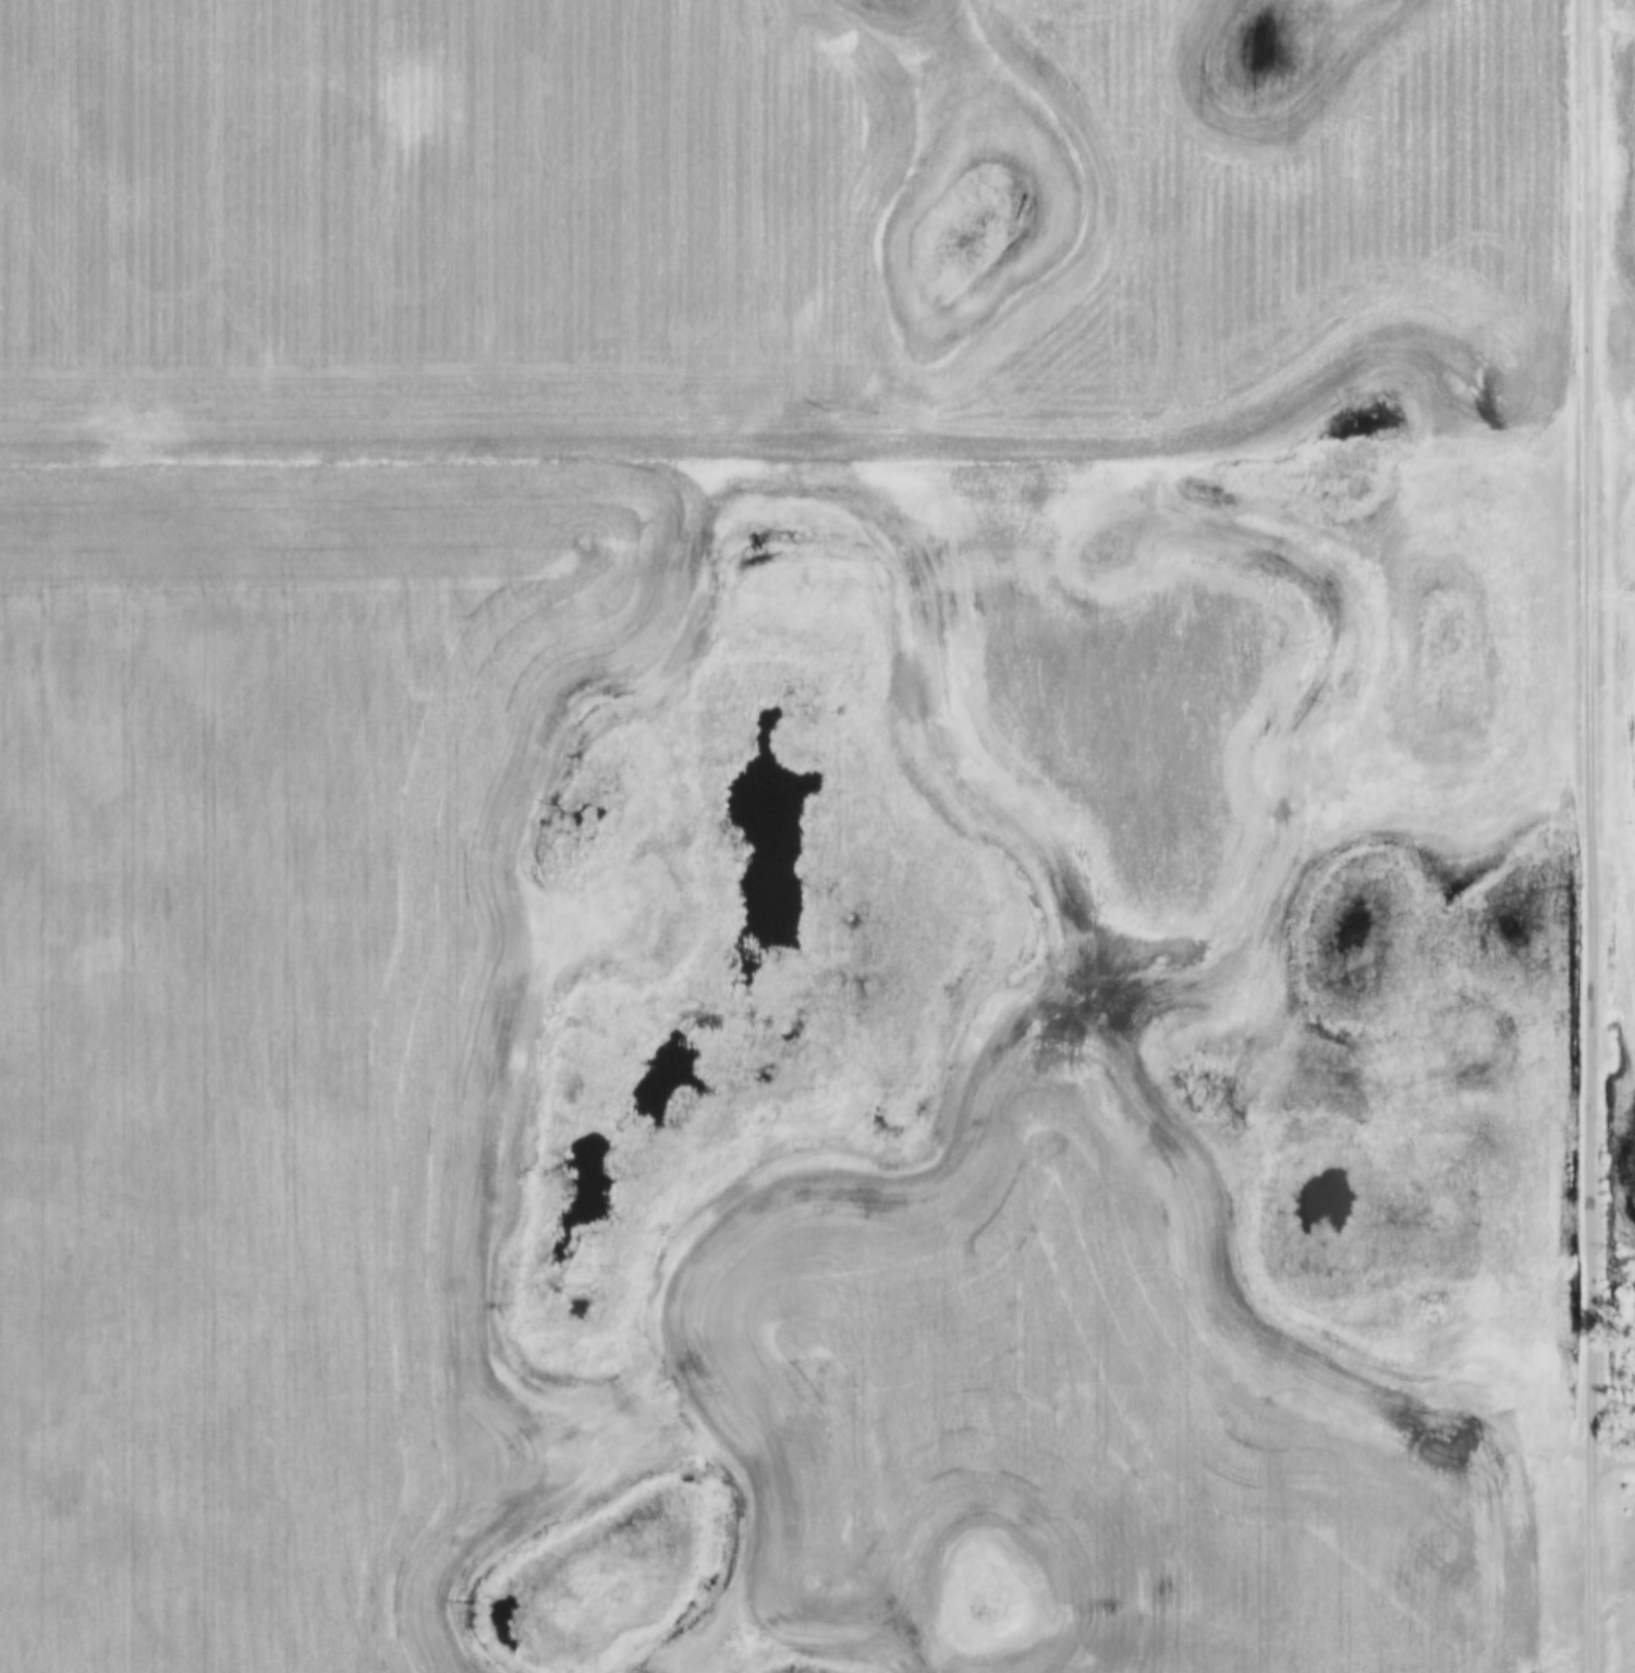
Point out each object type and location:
road: (1589, 836)
road: (1613, 1467)
road: (1613, 1612)

